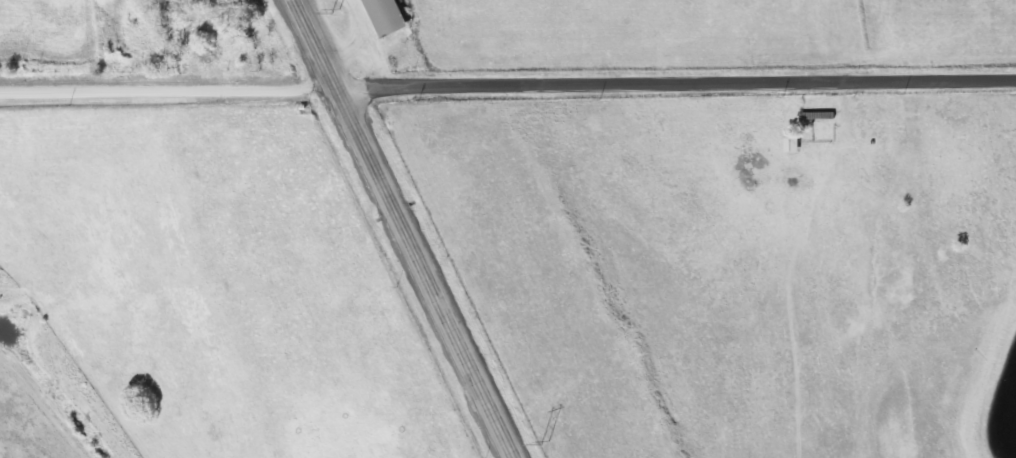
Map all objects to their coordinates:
power tower: (335, 9)
building: (374, 17)
road: (675, 81)
road: (167, 89)
building: (785, 143)
road: (403, 228)
power tower: (543, 442)

